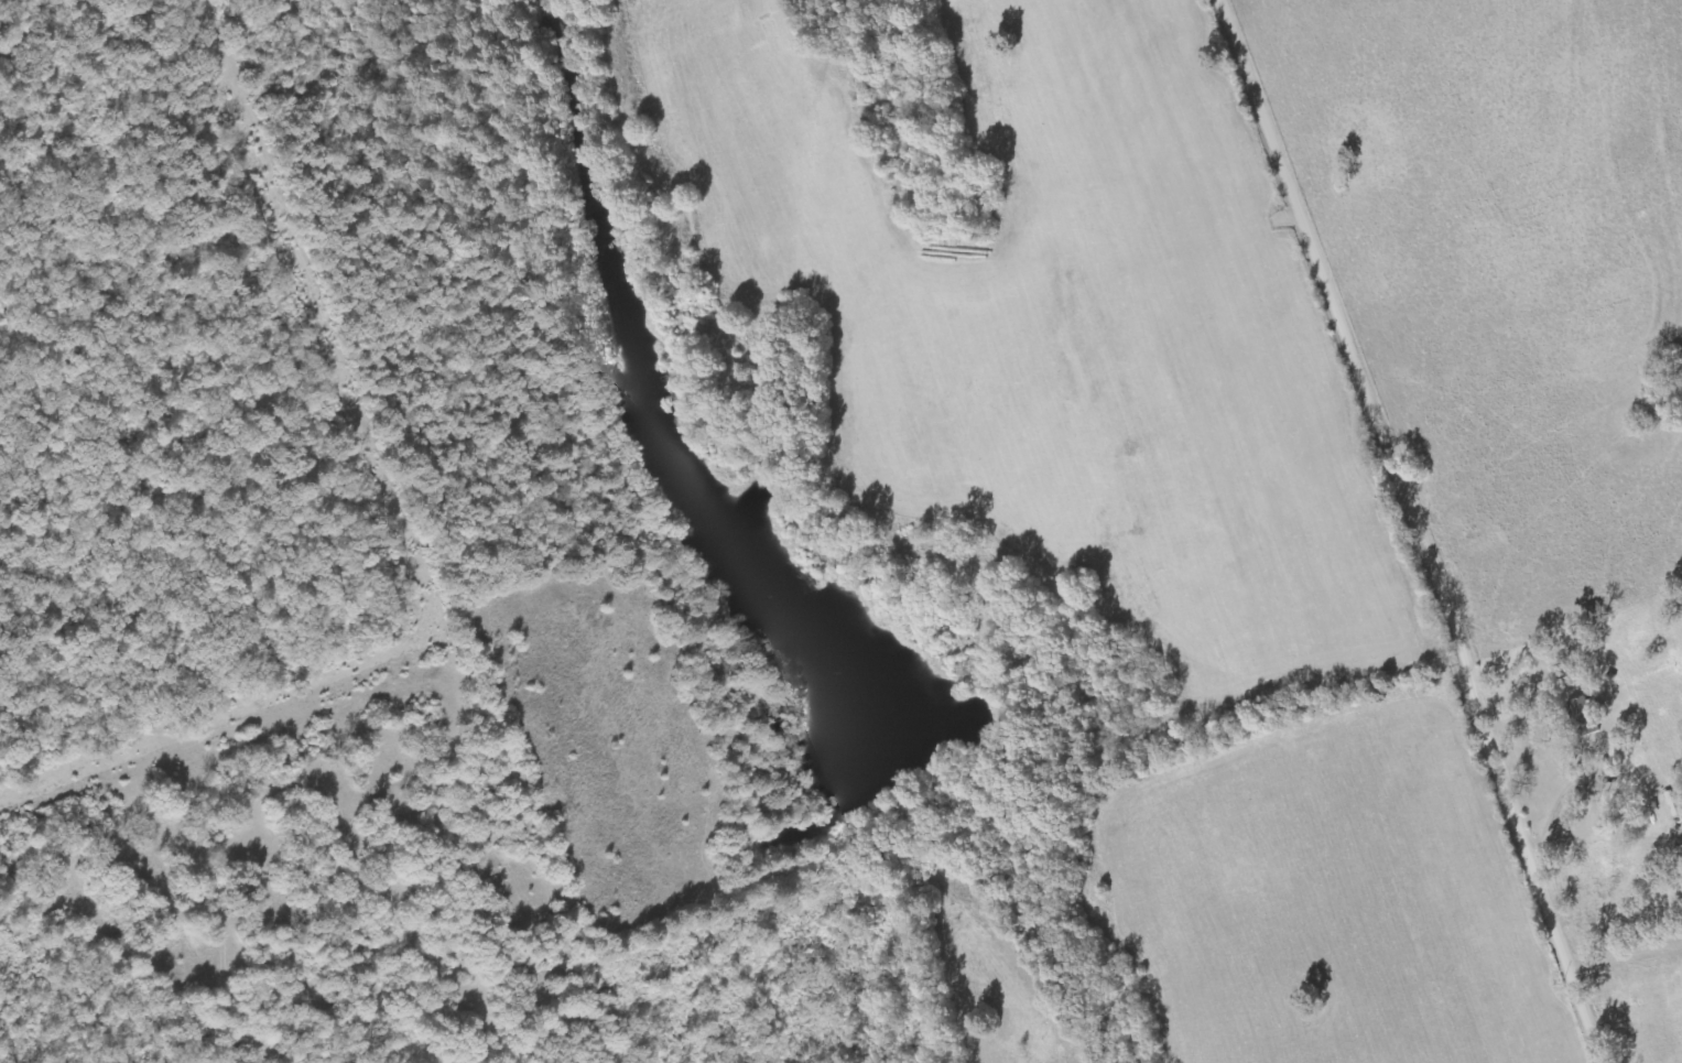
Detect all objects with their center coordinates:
road: (1403, 533)
building: (1583, 716)

